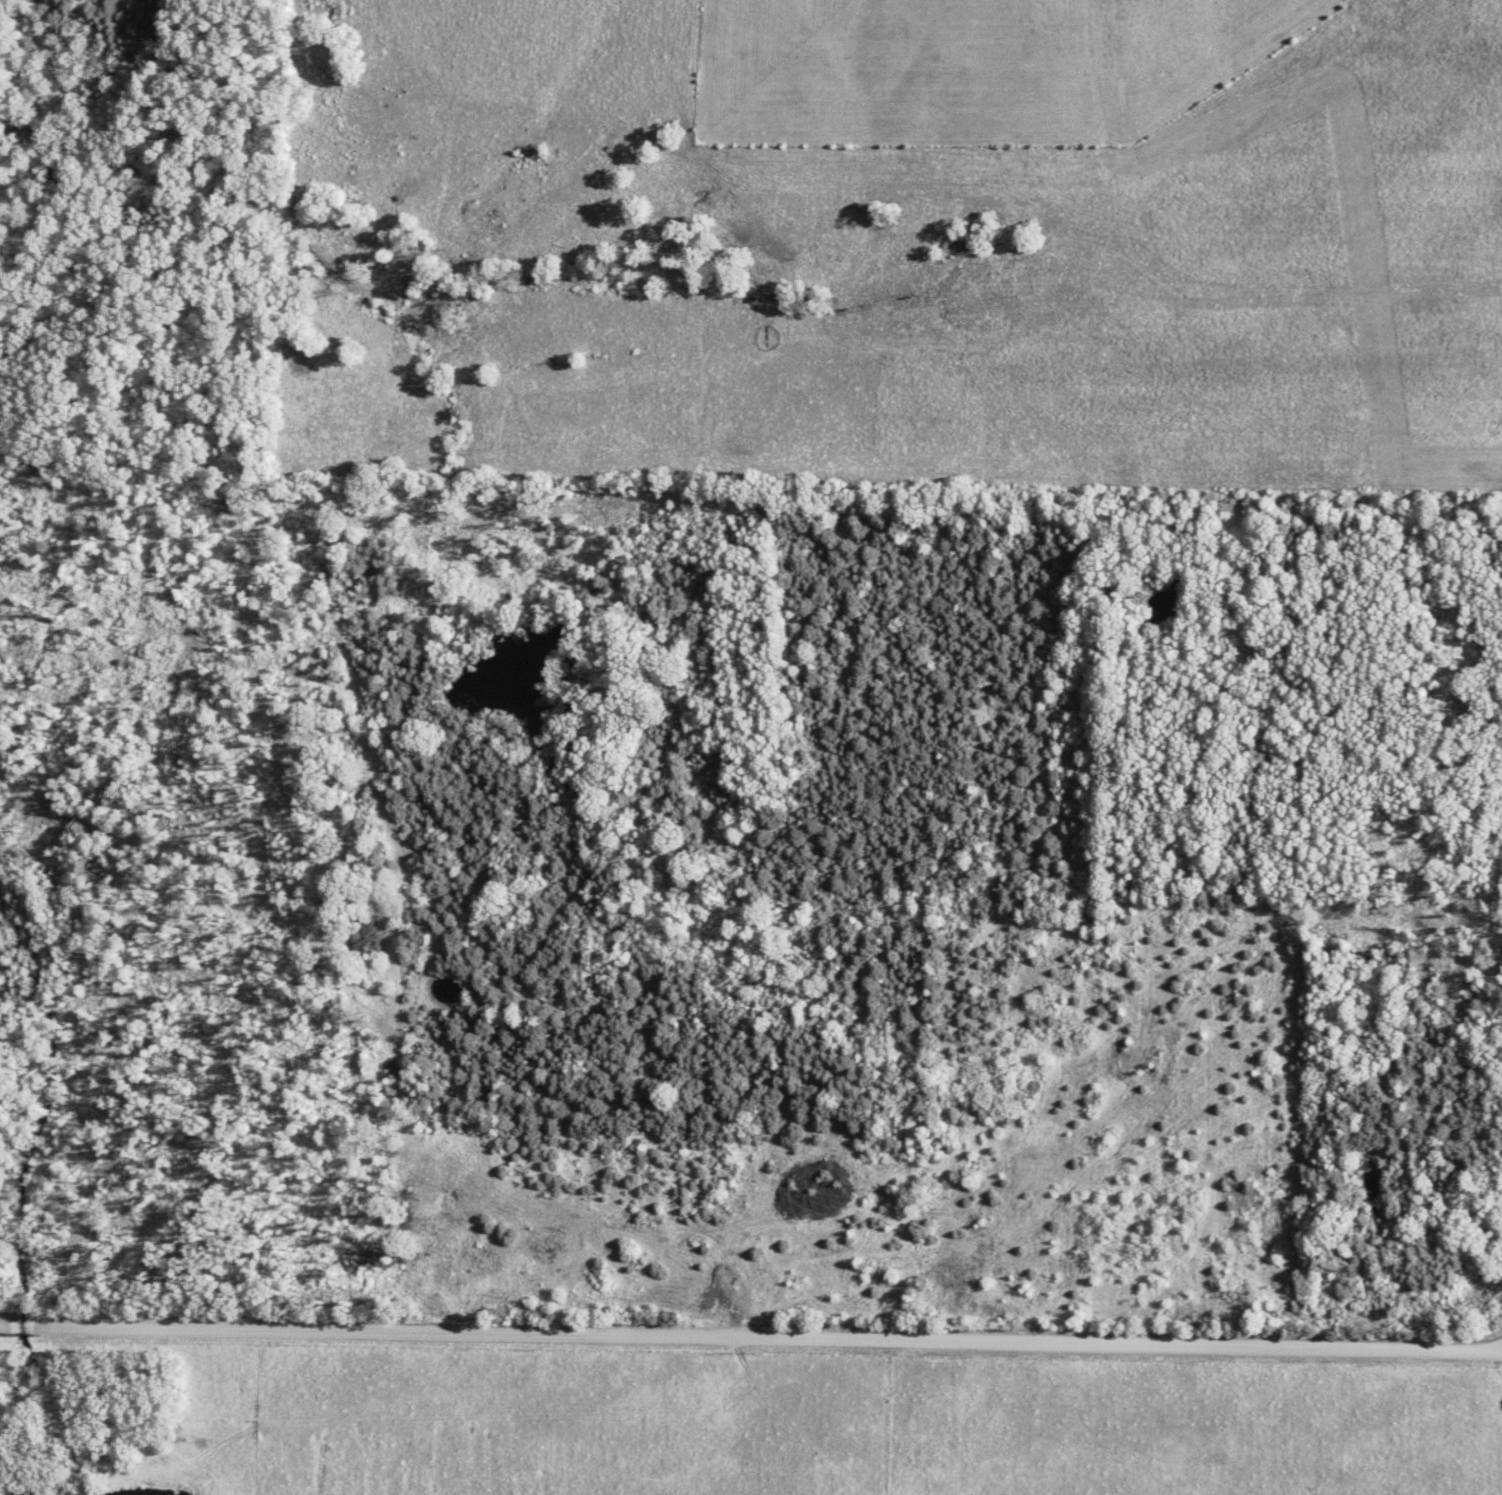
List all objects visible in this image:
road: (750, 1334)

